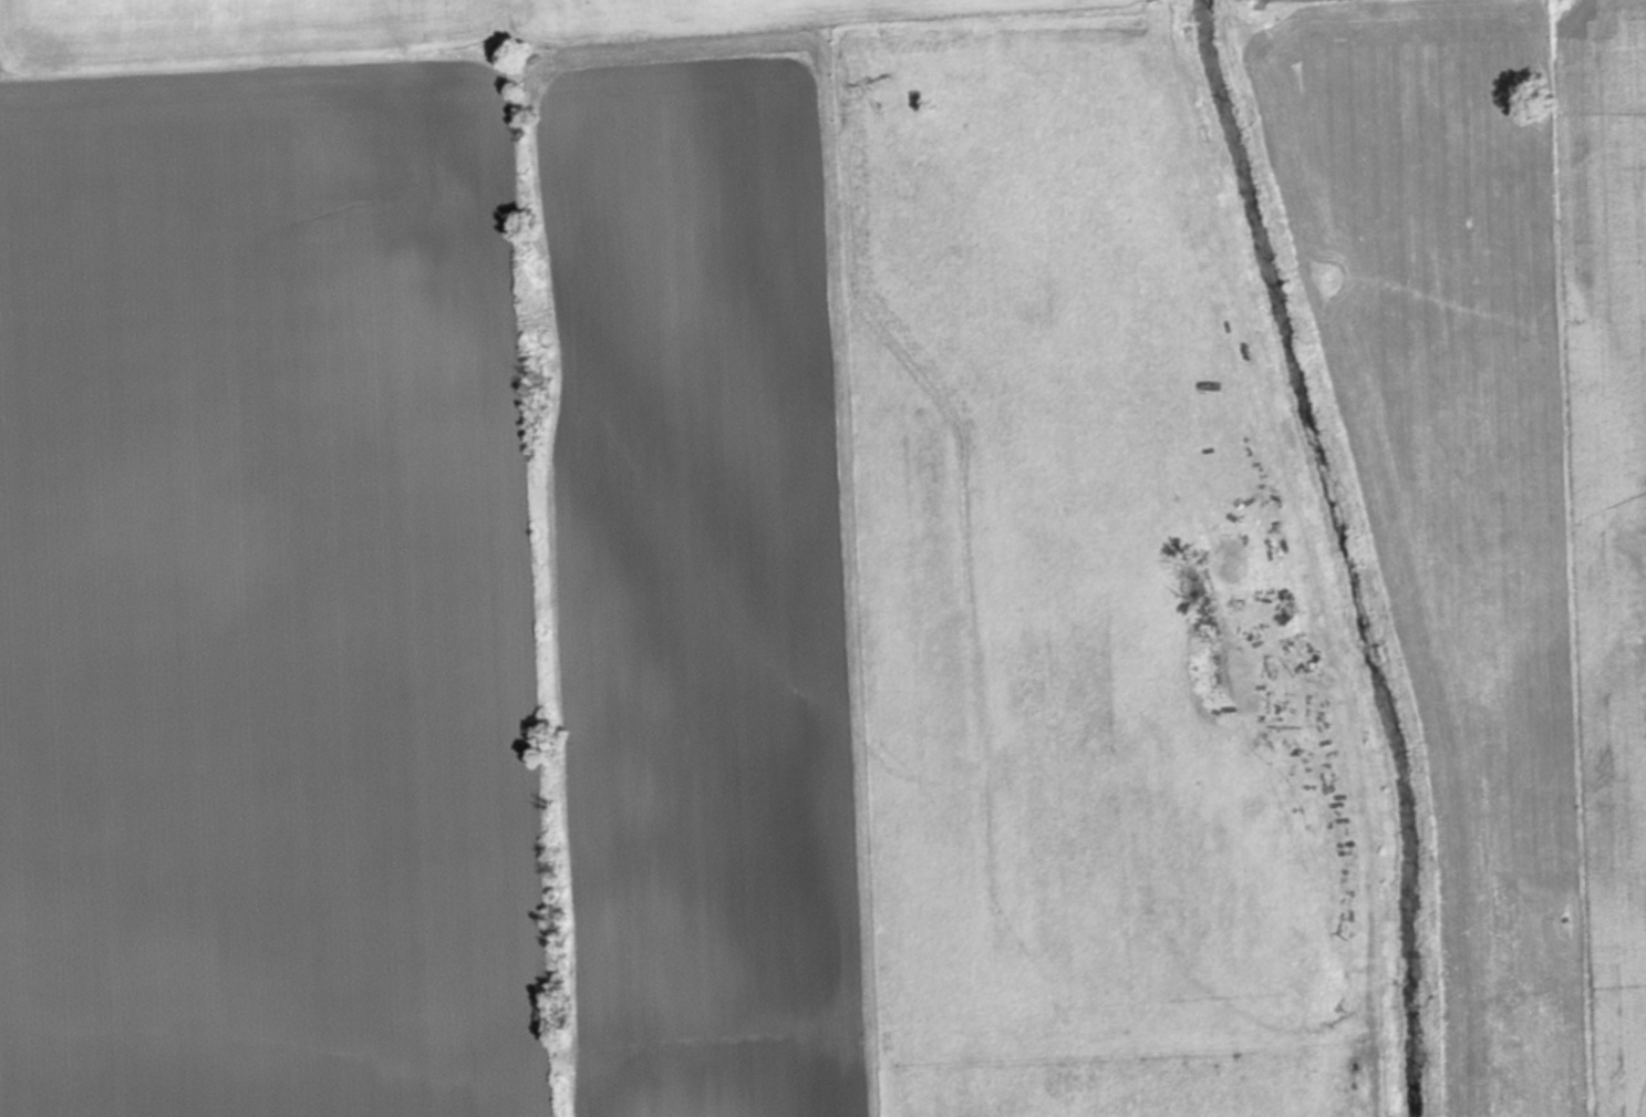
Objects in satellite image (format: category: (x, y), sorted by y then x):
road: (1376, 1115)

